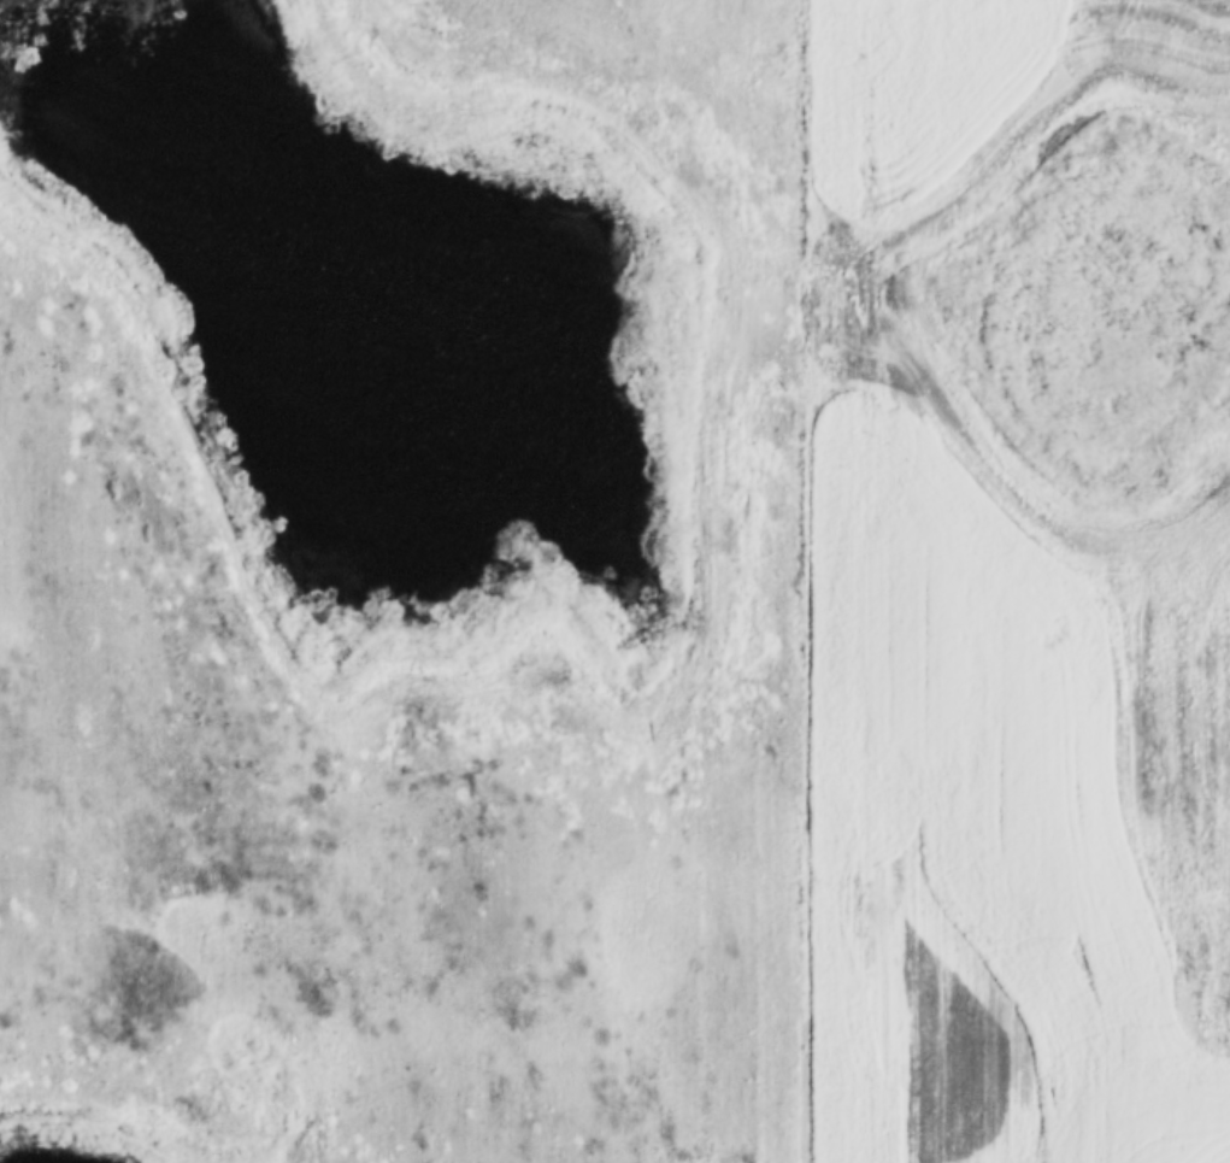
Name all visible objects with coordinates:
road: (790, 581)

